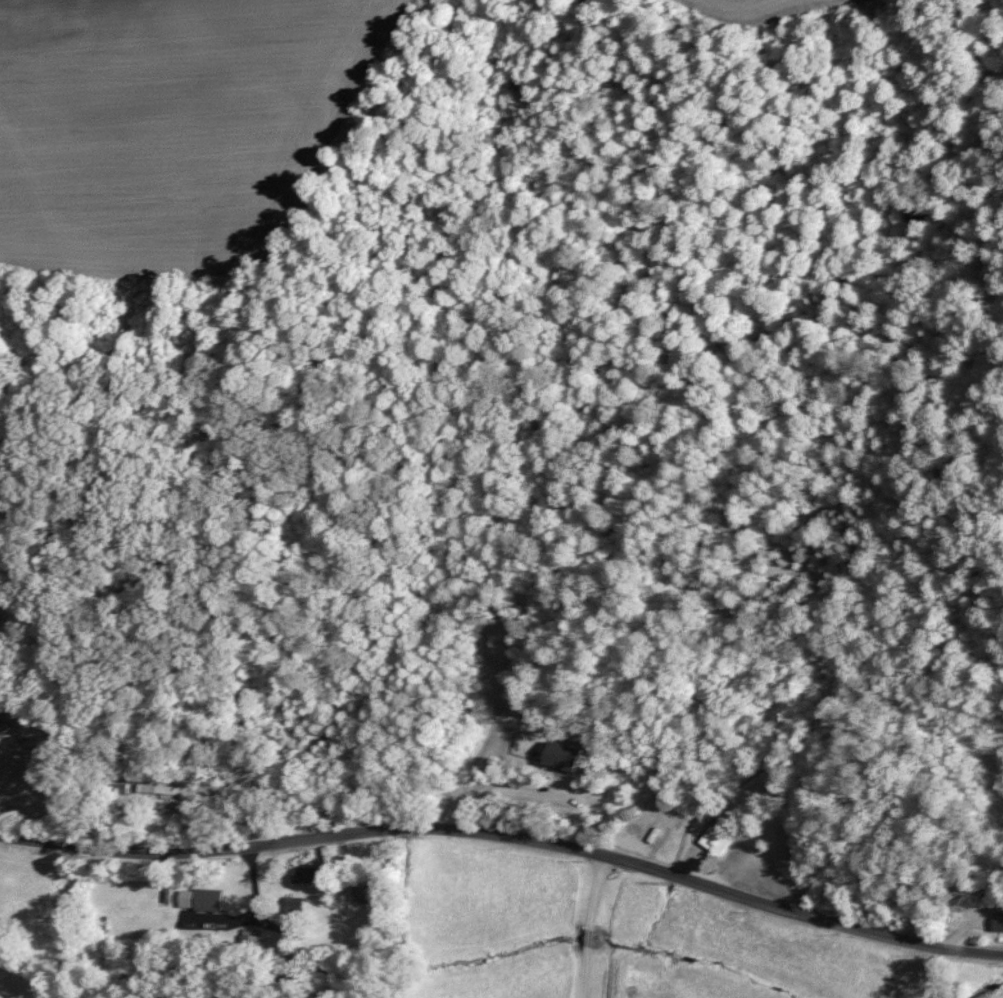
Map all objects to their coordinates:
building: (155, 788)
road: (508, 834)
building: (714, 841)
building: (359, 891)
building: (206, 899)
building: (995, 920)
road: (593, 927)
building: (252, 936)

